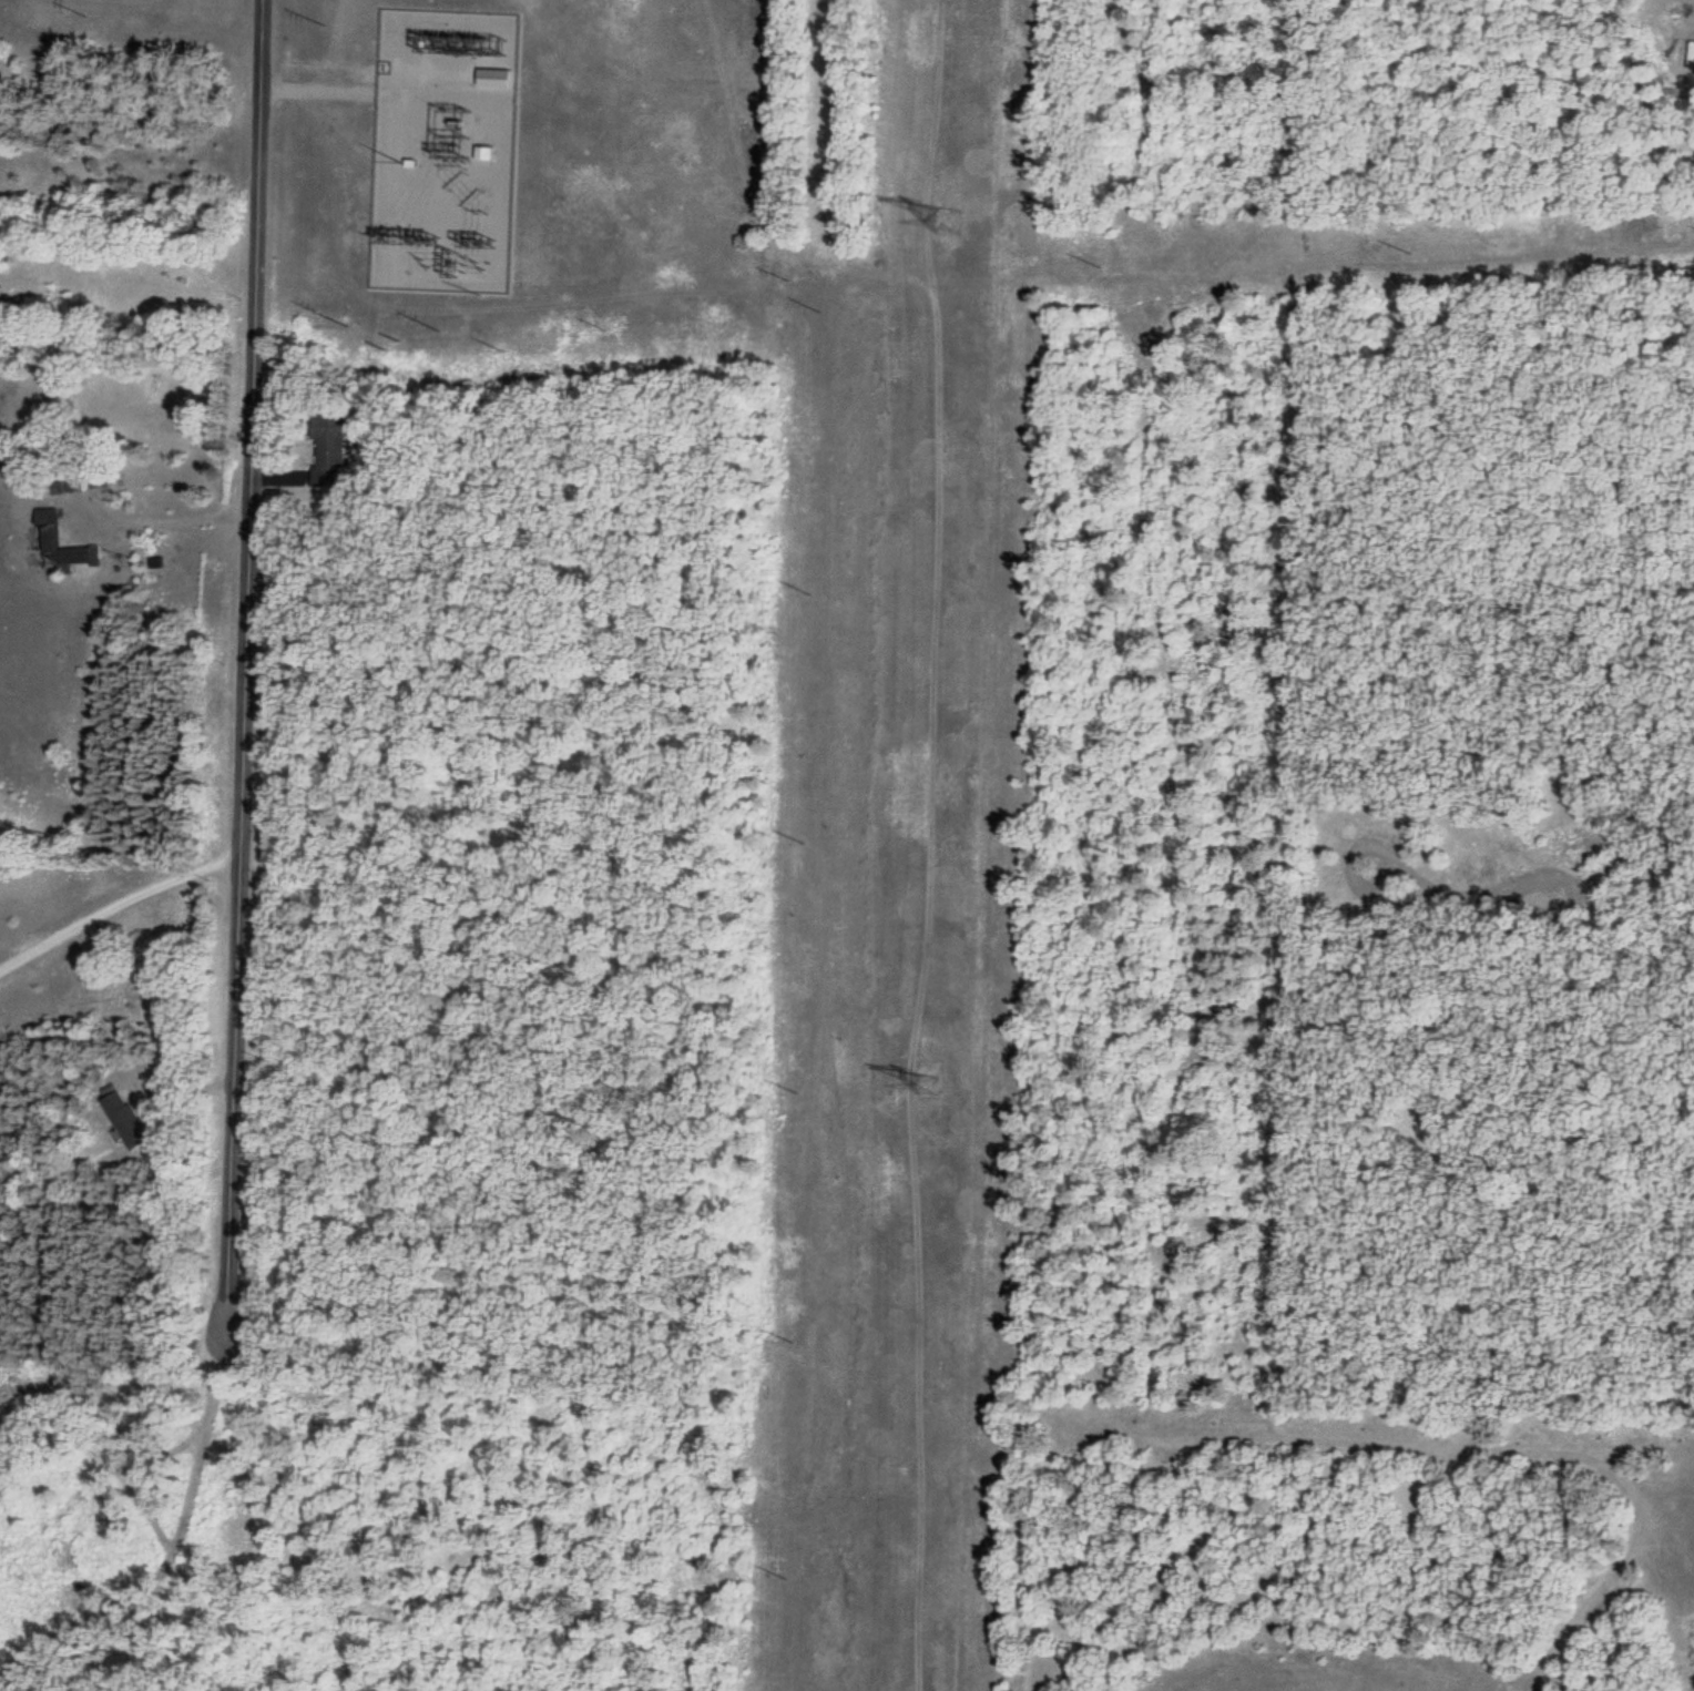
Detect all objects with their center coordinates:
road: (319, 93)
road: (1650, 130)
power substation: (446, 153)
building: (483, 154)
power tower: (948, 218)
building: (328, 452)
building: (63, 488)
building: (45, 529)
road: (244, 671)
power tower: (925, 1083)
building: (125, 1121)
landfill: (1337, 1548)

